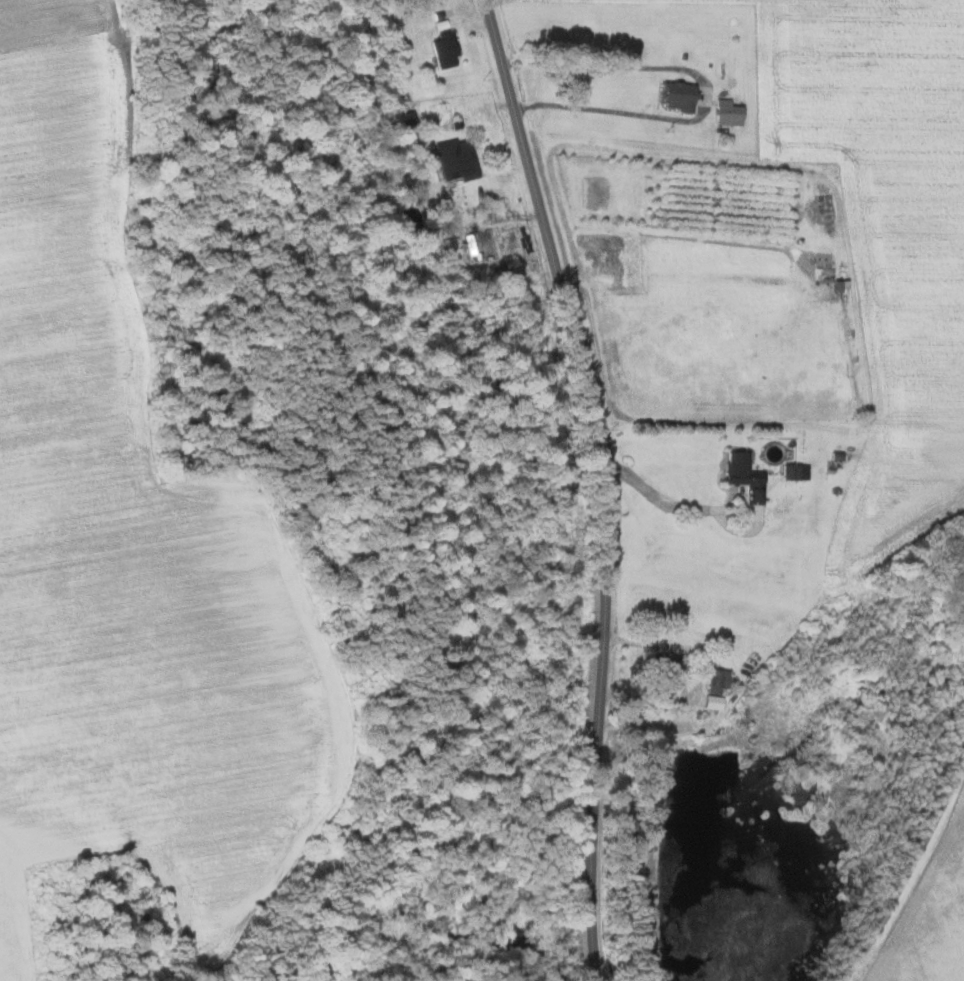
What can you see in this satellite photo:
building: (443, 50)
road: (707, 89)
building: (676, 96)
building: (727, 113)
building: (454, 160)
building: (789, 471)
building: (742, 476)
road: (601, 483)
road: (665, 494)
building: (663, 671)
building: (716, 688)

